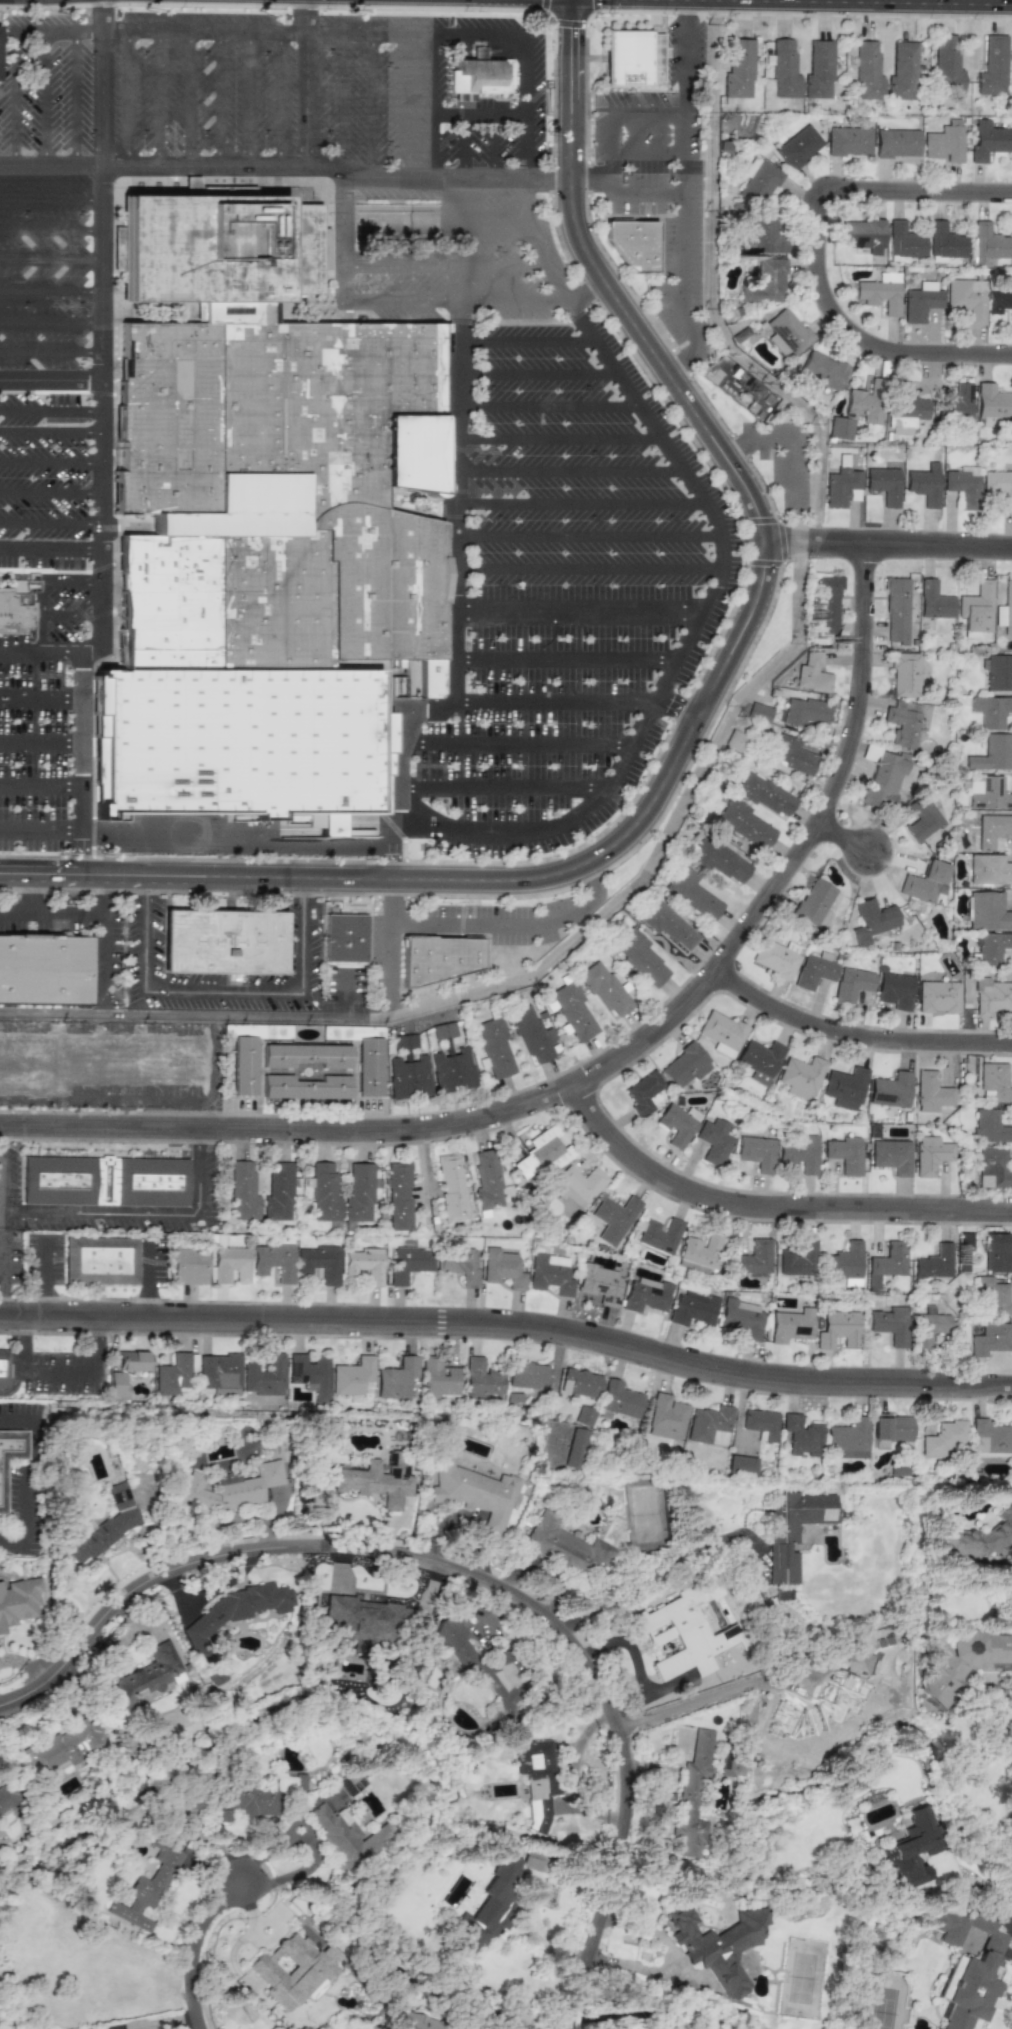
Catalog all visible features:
road: (101, 15)
road: (308, 15)
road: (264, 30)
building: (478, 53)
road: (682, 57)
building: (946, 63)
building: (633, 64)
building: (992, 66)
building: (738, 69)
building: (784, 69)
building: (818, 70)
building: (867, 71)
building: (902, 71)
building: (481, 79)
parking lot: (203, 86)
parking lot: (45, 87)
road: (126, 97)
road: (160, 97)
road: (191, 97)
road: (221, 97)
road: (253, 97)
road: (279, 97)
road: (308, 97)
road: (17, 98)
road: (44, 98)
road: (73, 98)
road: (340, 100)
road: (526, 102)
road: (372, 103)
road: (404, 104)
road: (436, 104)
road: (481, 114)
building: (986, 139)
building: (848, 140)
building: (944, 142)
building: (896, 143)
road: (494, 145)
road: (464, 146)
building: (798, 147)
road: (287, 165)
road: (680, 170)
building: (758, 180)
building: (191, 185)
road: (636, 195)
road: (49, 197)
road: (909, 201)
road: (533, 218)
road: (50, 227)
road: (468, 229)
building: (763, 234)
building: (862, 235)
building: (904, 240)
building: (944, 240)
building: (987, 243)
building: (632, 247)
road: (50, 256)
road: (440, 263)
parking lot: (47, 274)
building: (766, 282)
road: (50, 287)
building: (880, 292)
road: (711, 296)
road: (512, 298)
building: (966, 298)
road: (408, 299)
building: (1000, 299)
building: (920, 301)
road: (50, 319)
building: (786, 332)
road: (526, 339)
road: (101, 340)
road: (849, 349)
road: (50, 350)
road: (536, 369)
building: (822, 369)
road: (50, 378)
building: (740, 386)
building: (865, 402)
building: (959, 402)
road: (549, 403)
building: (992, 404)
road: (50, 409)
building: (905, 411)
building: (839, 428)
road: (50, 434)
road: (559, 438)
road: (787, 442)
road: (458, 457)
road: (50, 461)
road: (570, 471)
parking lot: (45, 483)
building: (923, 483)
building: (841, 484)
building: (884, 484)
building: (963, 485)
building: (998, 486)
road: (50, 493)
road: (581, 500)
road: (50, 524)
building: (266, 529)
road: (587, 532)
road: (889, 543)
road: (50, 553)
road: (588, 568)
parking lot: (568, 597)
building: (933, 600)
road: (581, 601)
building: (827, 604)
building: (14, 607)
building: (975, 608)
building: (1005, 609)
building: (895, 610)
road: (695, 622)
road: (574, 631)
road: (42, 653)
road: (568, 664)
building: (998, 672)
building: (811, 673)
building: (904, 674)
road: (456, 680)
road: (42, 690)
road: (559, 698)
building: (991, 710)
building: (758, 711)
building: (804, 711)
road: (699, 713)
building: (902, 723)
road: (41, 730)
road: (520, 738)
building: (735, 740)
building: (992, 753)
building: (791, 754)
road: (41, 764)
road: (510, 771)
road: (82, 775)
building: (884, 780)
building: (987, 793)
building: (765, 794)
road: (41, 796)
road: (499, 803)
building: (922, 818)
building: (744, 823)
building: (992, 829)
road: (847, 836)
road: (256, 837)
road: (81, 855)
building: (718, 859)
building: (989, 868)
building: (924, 882)
building: (692, 893)
road: (31, 894)
building: (813, 901)
building: (988, 911)
road: (53, 912)
building: (871, 920)
road: (514, 924)
building: (668, 925)
building: (346, 940)
building: (222, 941)
building: (991, 946)
road: (106, 948)
road: (393, 950)
building: (639, 957)
building: (776, 957)
building: (442, 961)
building: (814, 970)
building: (45, 975)
road: (529, 977)
building: (851, 983)
building: (603, 987)
road: (222, 989)
building: (894, 990)
building: (992, 995)
building: (937, 996)
road: (143, 1004)
building: (573, 1010)
building: (443, 1030)
building: (721, 1032)
building: (530, 1034)
road: (855, 1037)
building: (405, 1041)
building: (494, 1048)
building: (305, 1058)
building: (759, 1059)
building: (683, 1065)
building: (242, 1067)
building: (369, 1069)
road: (604, 1069)
building: (451, 1070)
building: (801, 1076)
building: (408, 1077)
building: (994, 1081)
building: (844, 1087)
building: (303, 1088)
building: (890, 1090)
building: (643, 1092)
building: (932, 1092)
building: (677, 1124)
building: (989, 1127)
building: (713, 1142)
building: (756, 1152)
building: (798, 1153)
building: (845, 1153)
building: (541, 1154)
building: (929, 1155)
building: (891, 1156)
building: (992, 1168)
road: (6, 1173)
building: (106, 1180)
building: (489, 1181)
building: (576, 1185)
building: (451, 1188)
building: (242, 1191)
building: (277, 1192)
building: (324, 1192)
building: (358, 1193)
building: (399, 1196)
road: (770, 1210)
road: (144, 1214)
building: (613, 1218)
building: (656, 1236)
building: (699, 1251)
building: (996, 1252)
building: (753, 1258)
building: (798, 1260)
building: (273, 1261)
building: (319, 1262)
building: (408, 1262)
building: (934, 1262)
building: (844, 1263)
building: (886, 1263)
building: (365, 1264)
building: (188, 1265)
building: (229, 1265)
building: (460, 1265)
road: (5, 1266)
building: (501, 1268)
building: (549, 1274)
road: (41, 1278)
building: (598, 1286)
building: (993, 1295)
building: (644, 1296)
building: (691, 1308)
building: (742, 1318)
building: (889, 1324)
building: (789, 1325)
road: (509, 1327)
building: (837, 1329)
building: (929, 1329)
building: (990, 1339)
road: (20, 1345)
road: (97, 1346)
building: (131, 1360)
building: (3, 1369)
road: (60, 1372)
building: (219, 1373)
building: (309, 1374)
building: (172, 1375)
building: (525, 1375)
building: (264, 1376)
building: (352, 1376)
building: (395, 1378)
building: (437, 1378)
building: (480, 1379)
building: (579, 1383)
building: (117, 1384)
building: (619, 1399)
building: (583, 1416)
building: (665, 1418)
building: (759, 1423)
building: (709, 1425)
building: (890, 1428)
building: (801, 1435)
building: (847, 1438)
building: (943, 1438)
building: (989, 1439)
building: (564, 1448)
building: (11, 1461)
building: (741, 1465)
road: (30, 1476)
building: (376, 1484)
building: (474, 1492)
building: (221, 1495)
building: (795, 1525)
building: (105, 1526)
building: (981, 1540)
building: (566, 1547)
road: (468, 1577)
building: (18, 1602)
building: (238, 1608)
building: (680, 1635)
road: (630, 1647)
building: (860, 1663)
building: (959, 1664)
building: (150, 1673)
road: (688, 1706)
building: (726, 1765)
building: (537, 1780)
building: (692, 1795)
building: (7, 1796)
building: (245, 1801)
building: (347, 1836)
road: (276, 1841)
building: (911, 1849)
building: (533, 1861)
building: (147, 1891)
building: (491, 1905)
building: (717, 1946)
road: (189, 1947)
building: (967, 1965)
building: (294, 1970)
building: (415, 2021)

